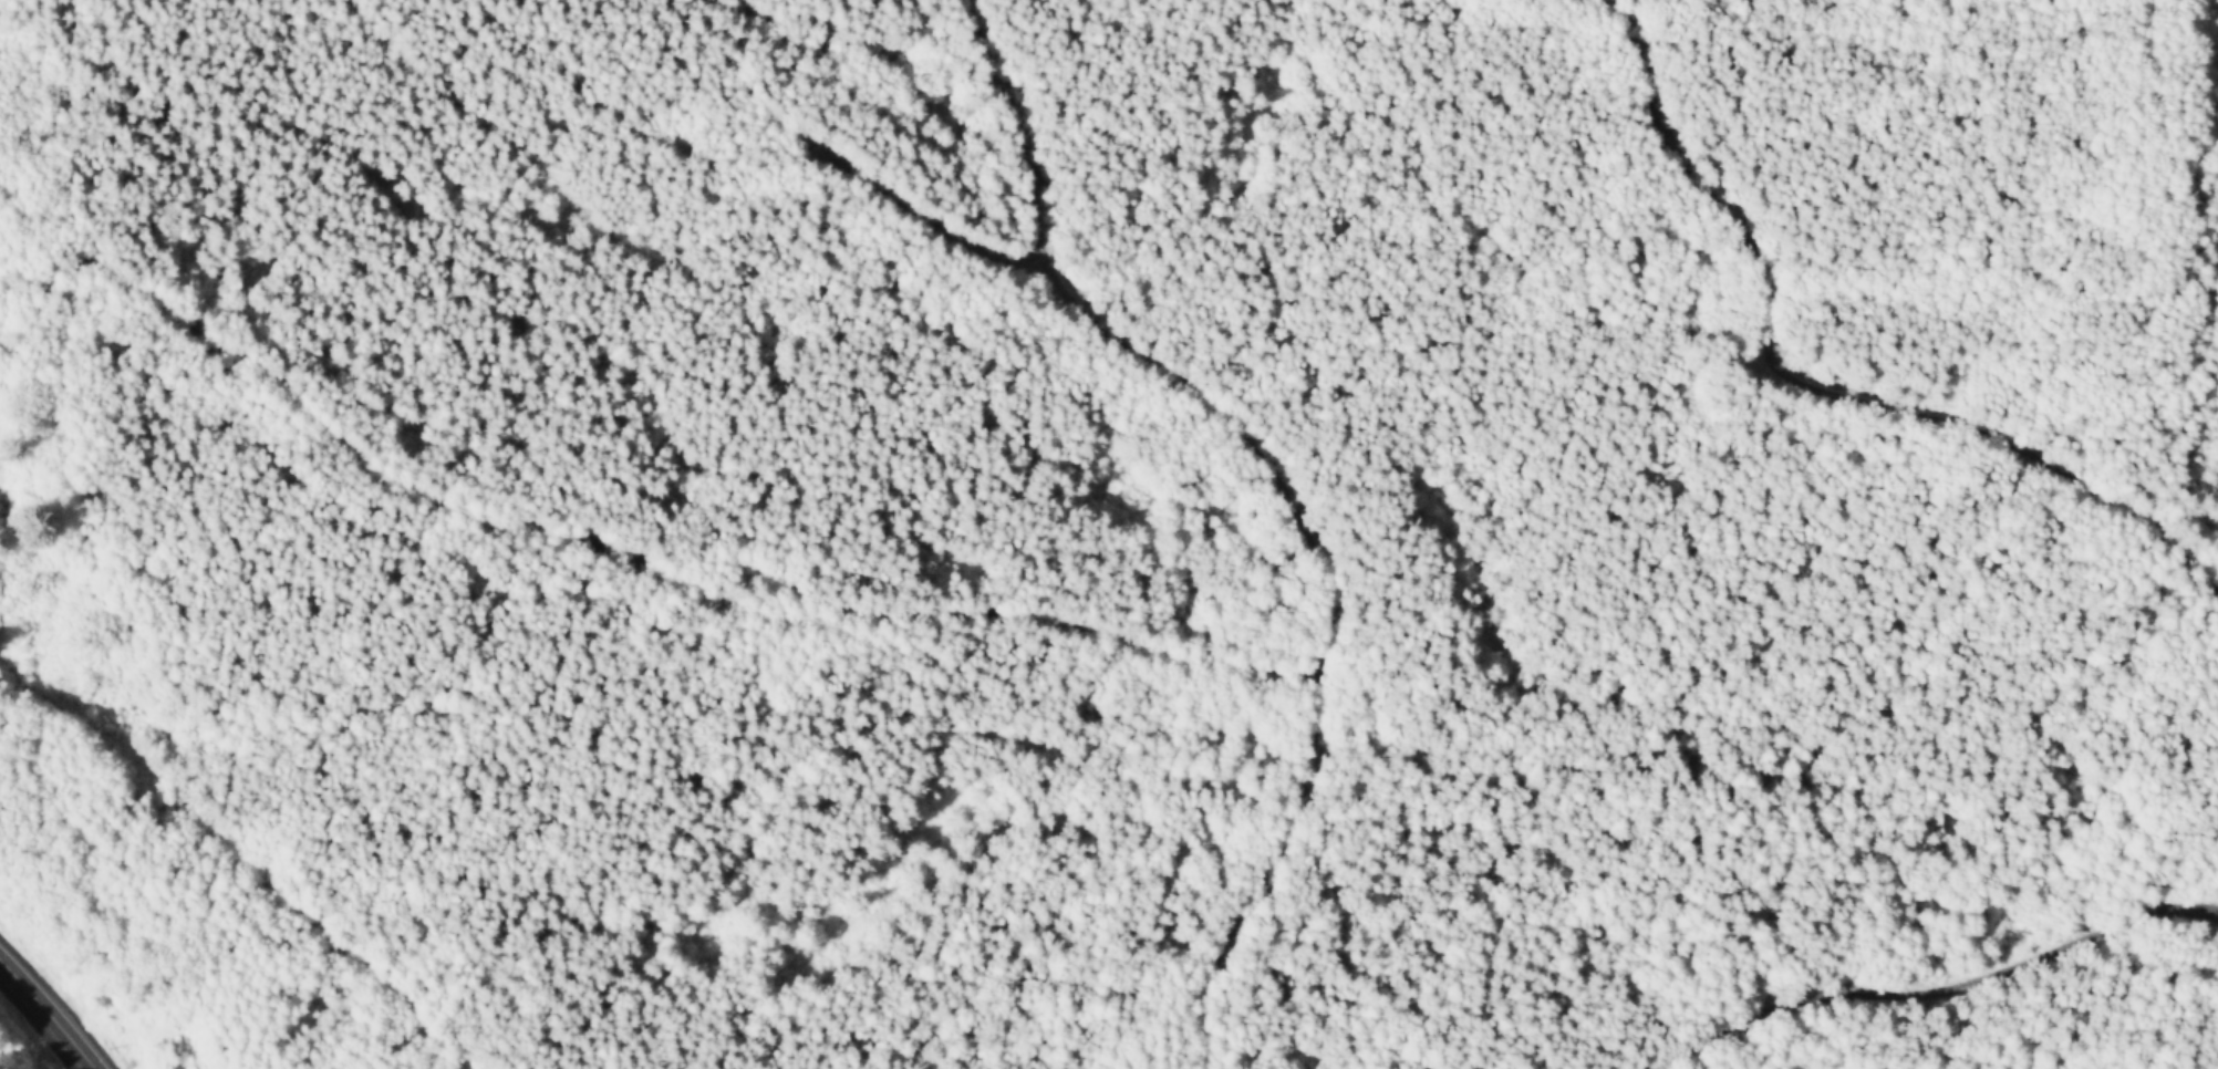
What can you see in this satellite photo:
road: (929, 219)
road: (1808, 386)
road: (1297, 502)
road: (660, 572)
road: (1273, 878)
road: (1937, 992)
road: (51, 1009)
road: (1698, 1062)

